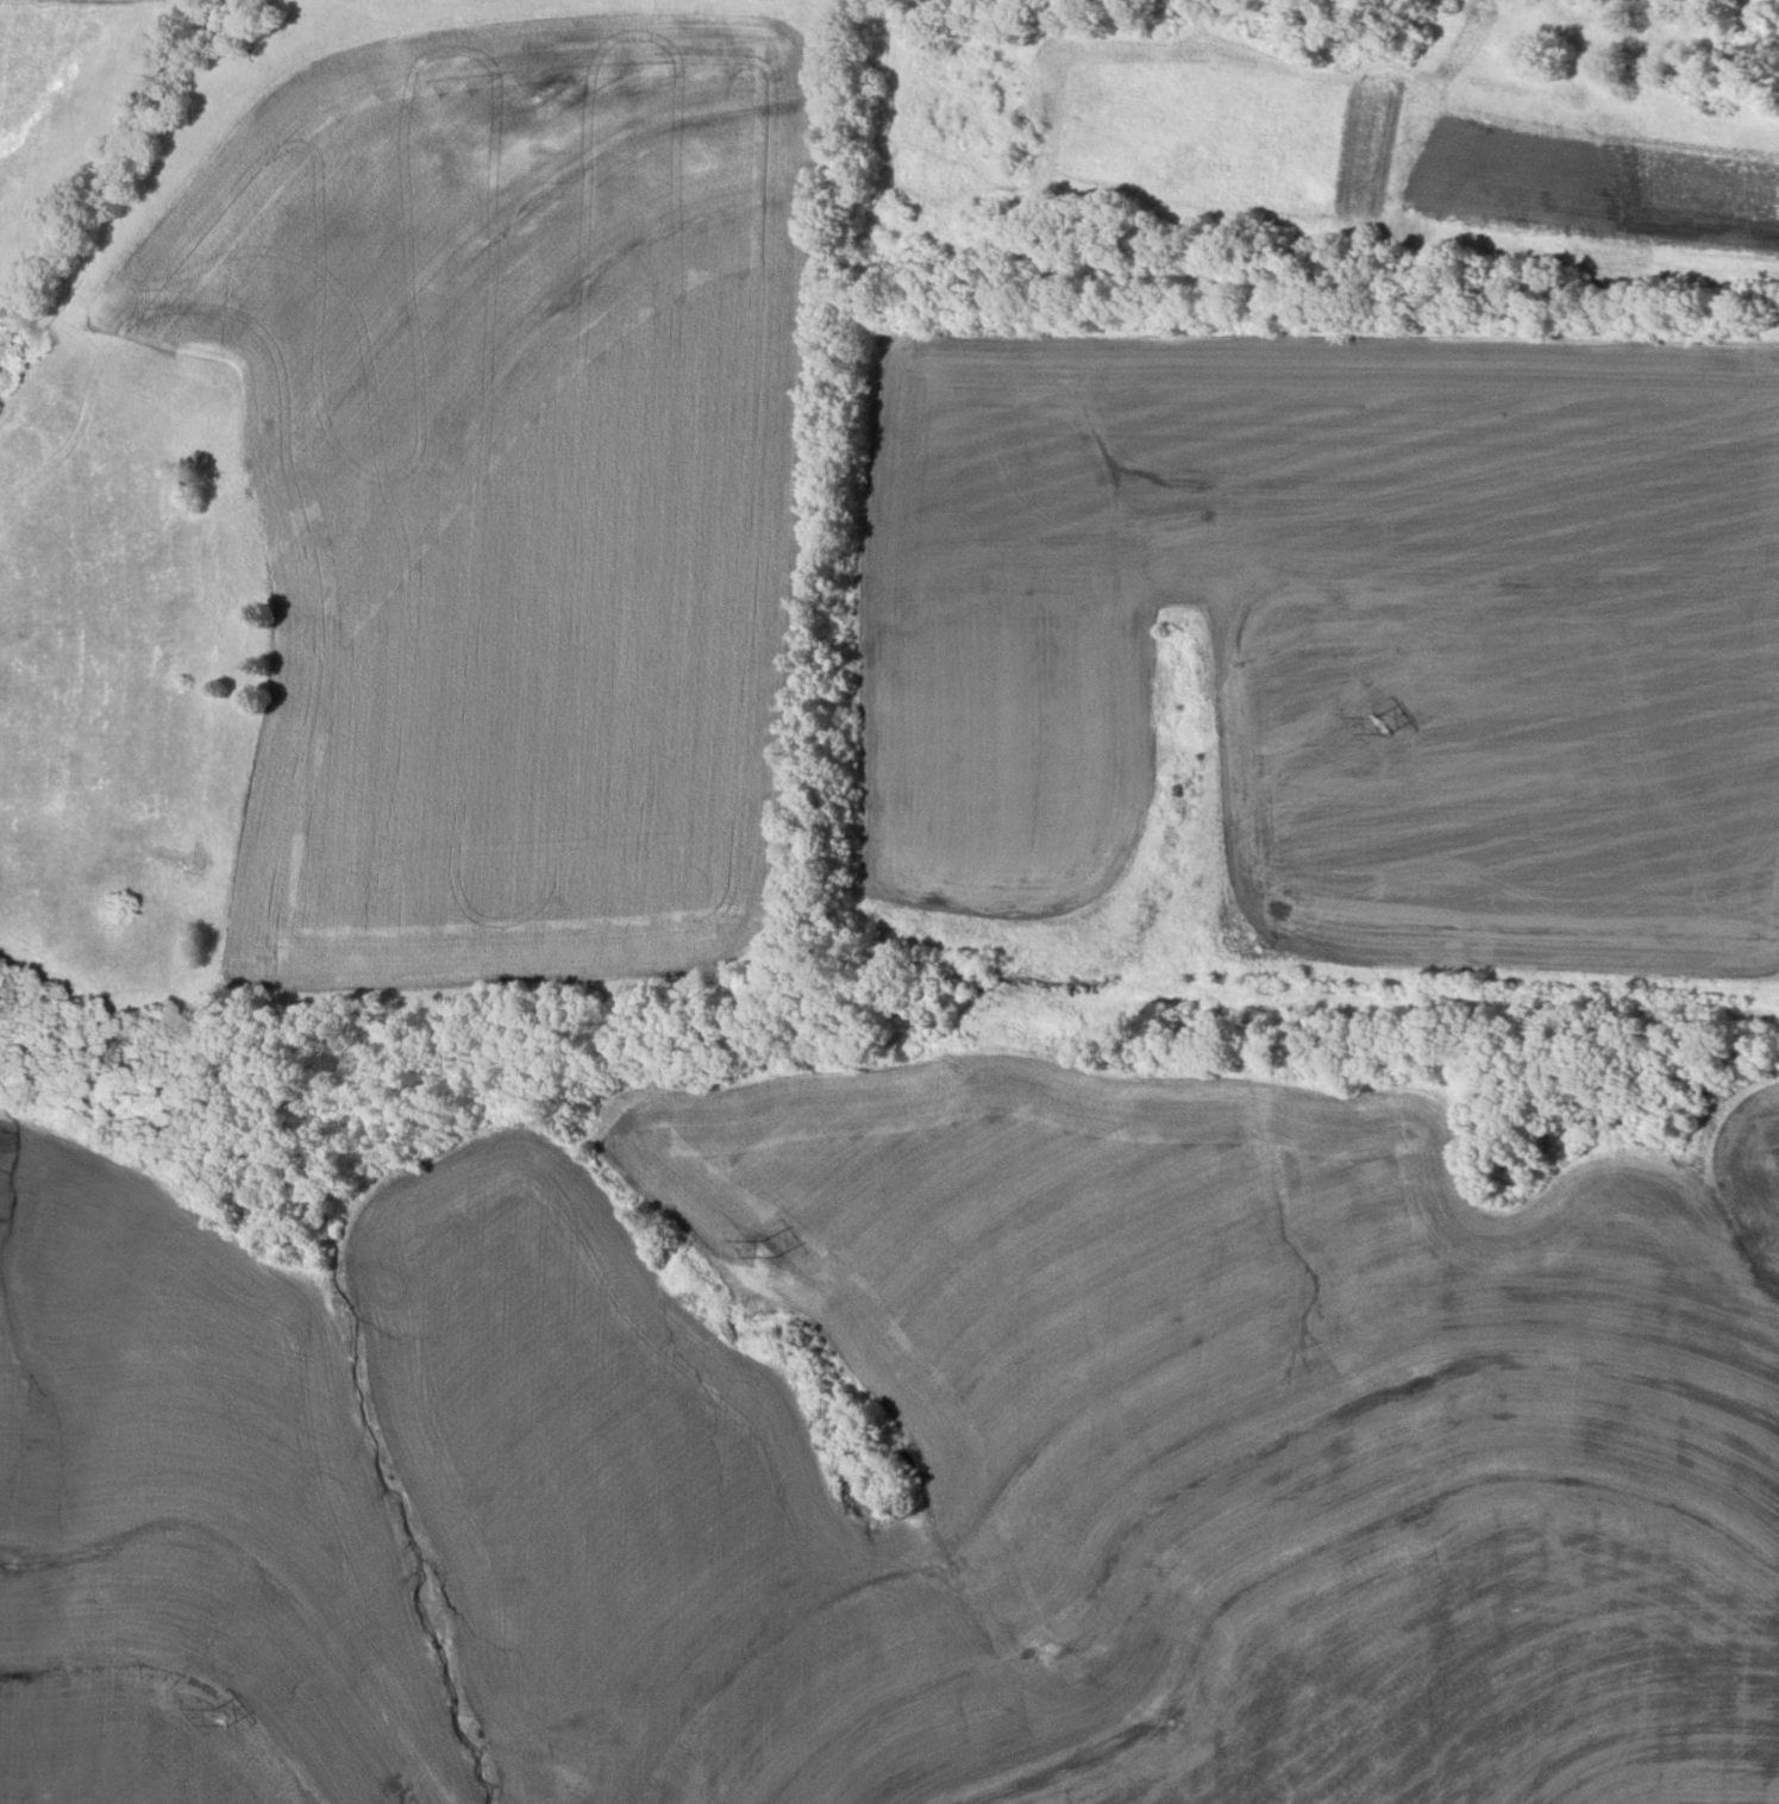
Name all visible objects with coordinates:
crop: (1754, 4)
crop: (59, 102)
crop: (1333, 133)
crop: (1773, 331)
crop: (420, 508)
crop: (1334, 641)
power tower: (1379, 733)
power tower: (776, 1258)
crop: (1335, 1423)
power tower: (227, 1729)

